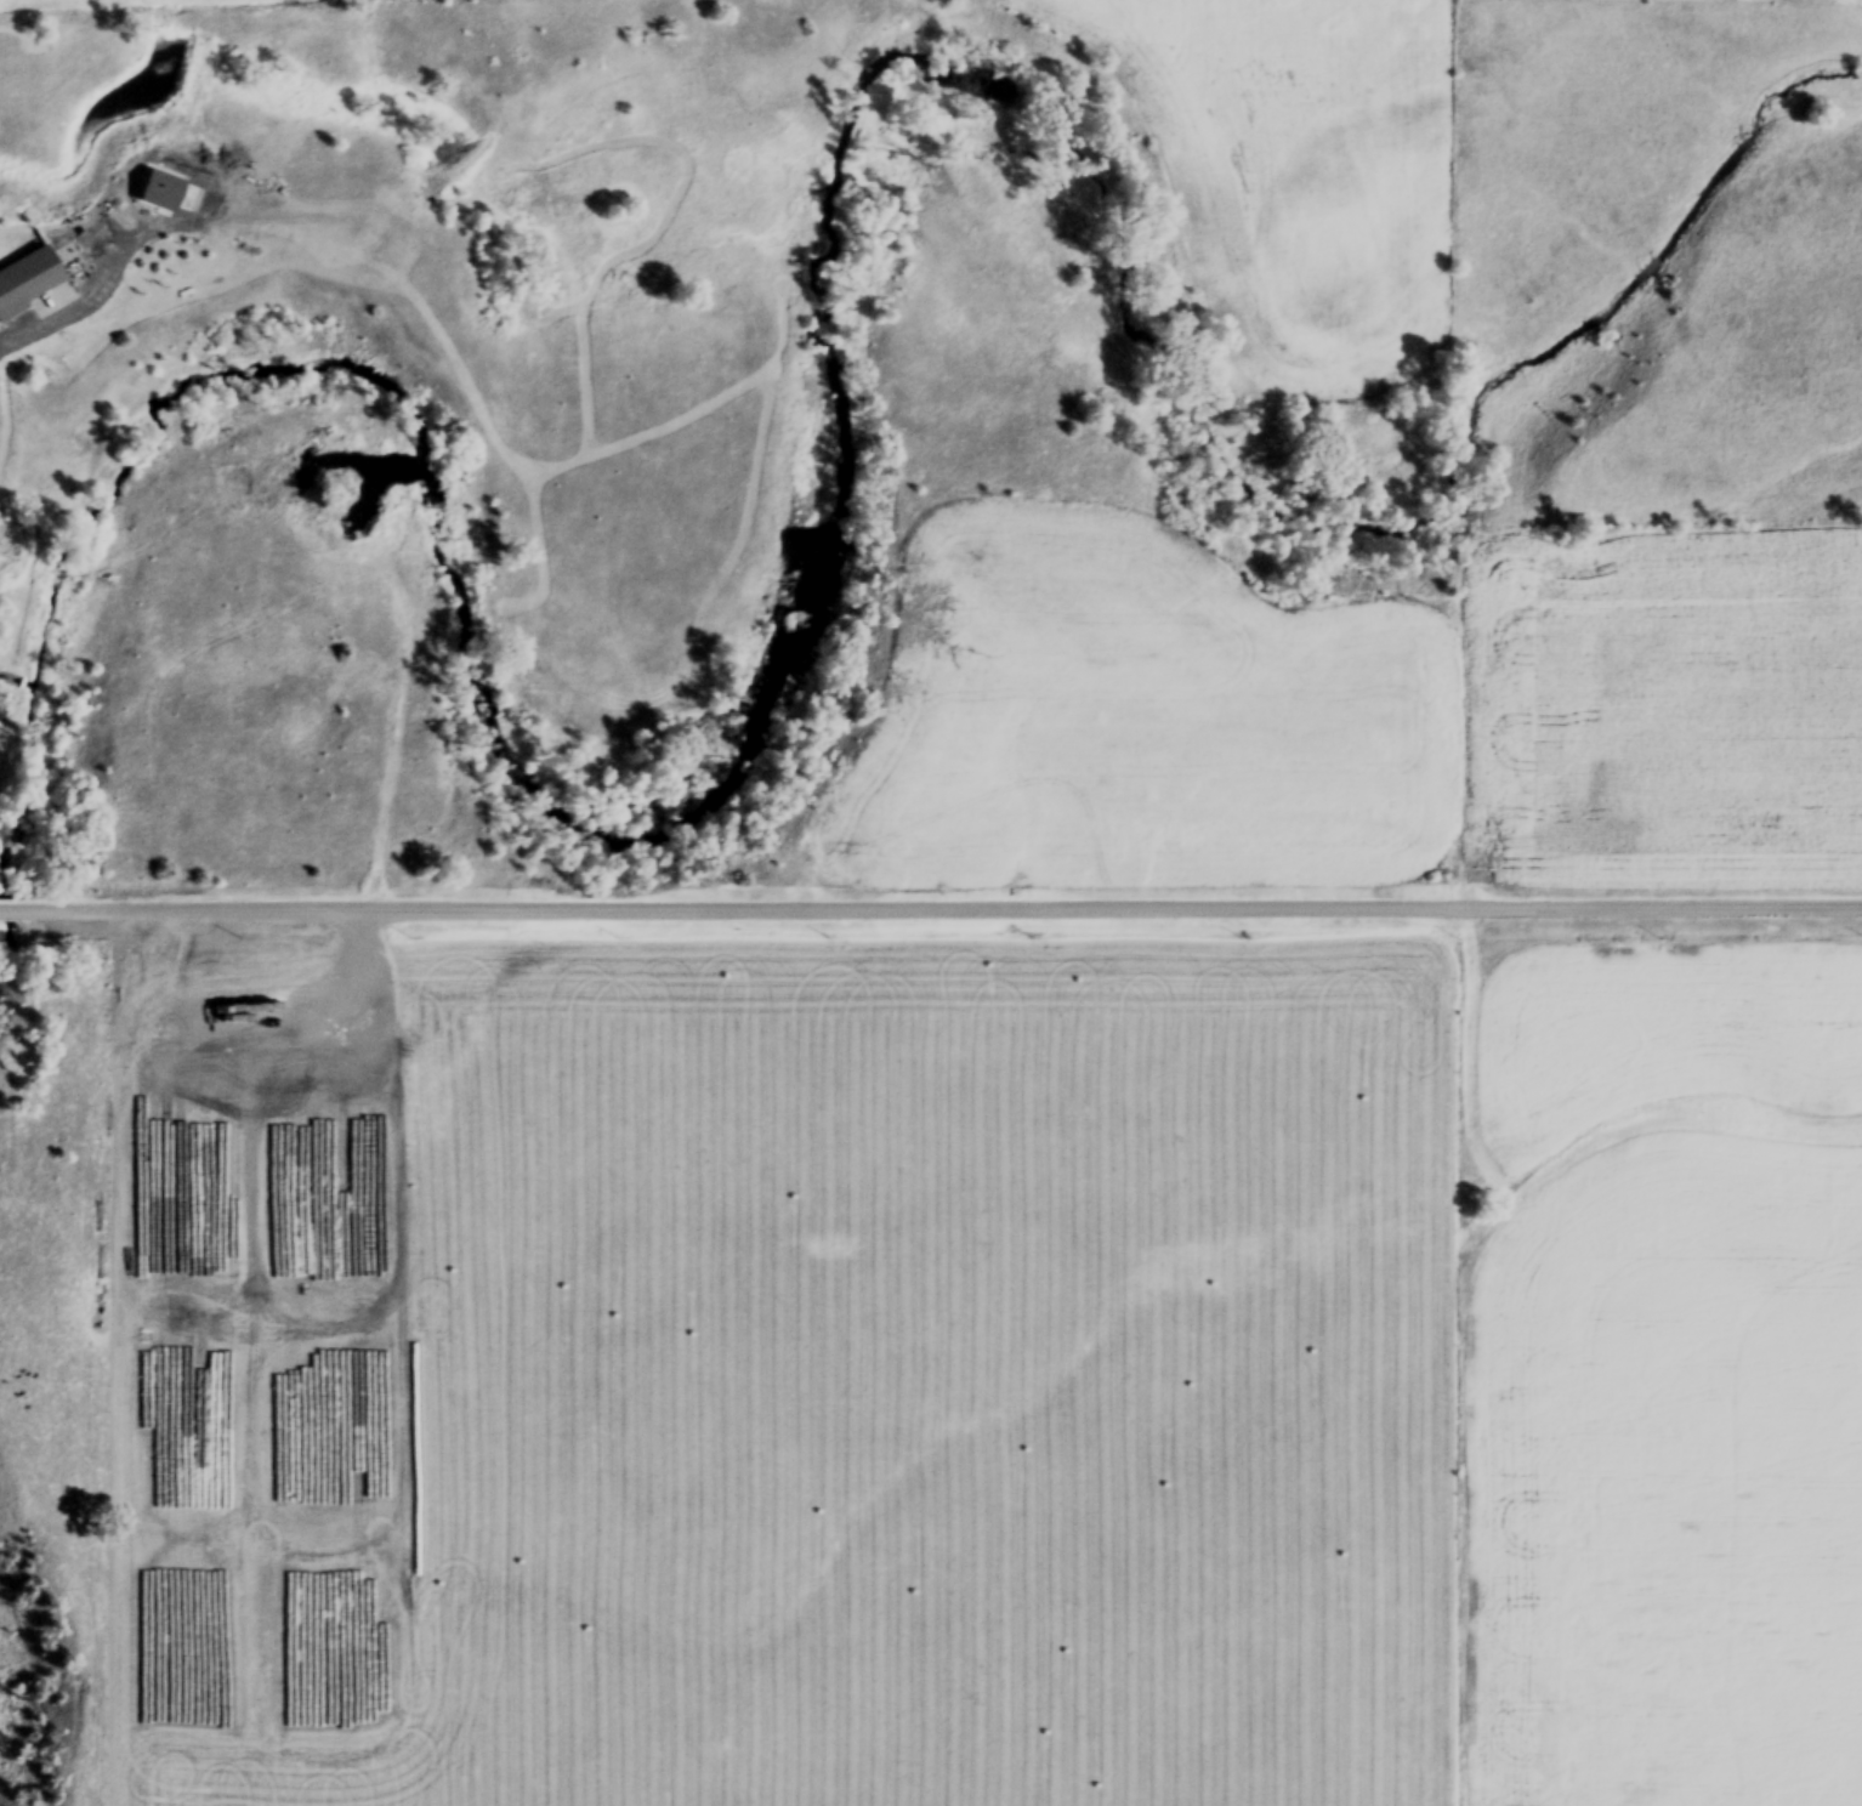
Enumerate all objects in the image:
road: (931, 902)

